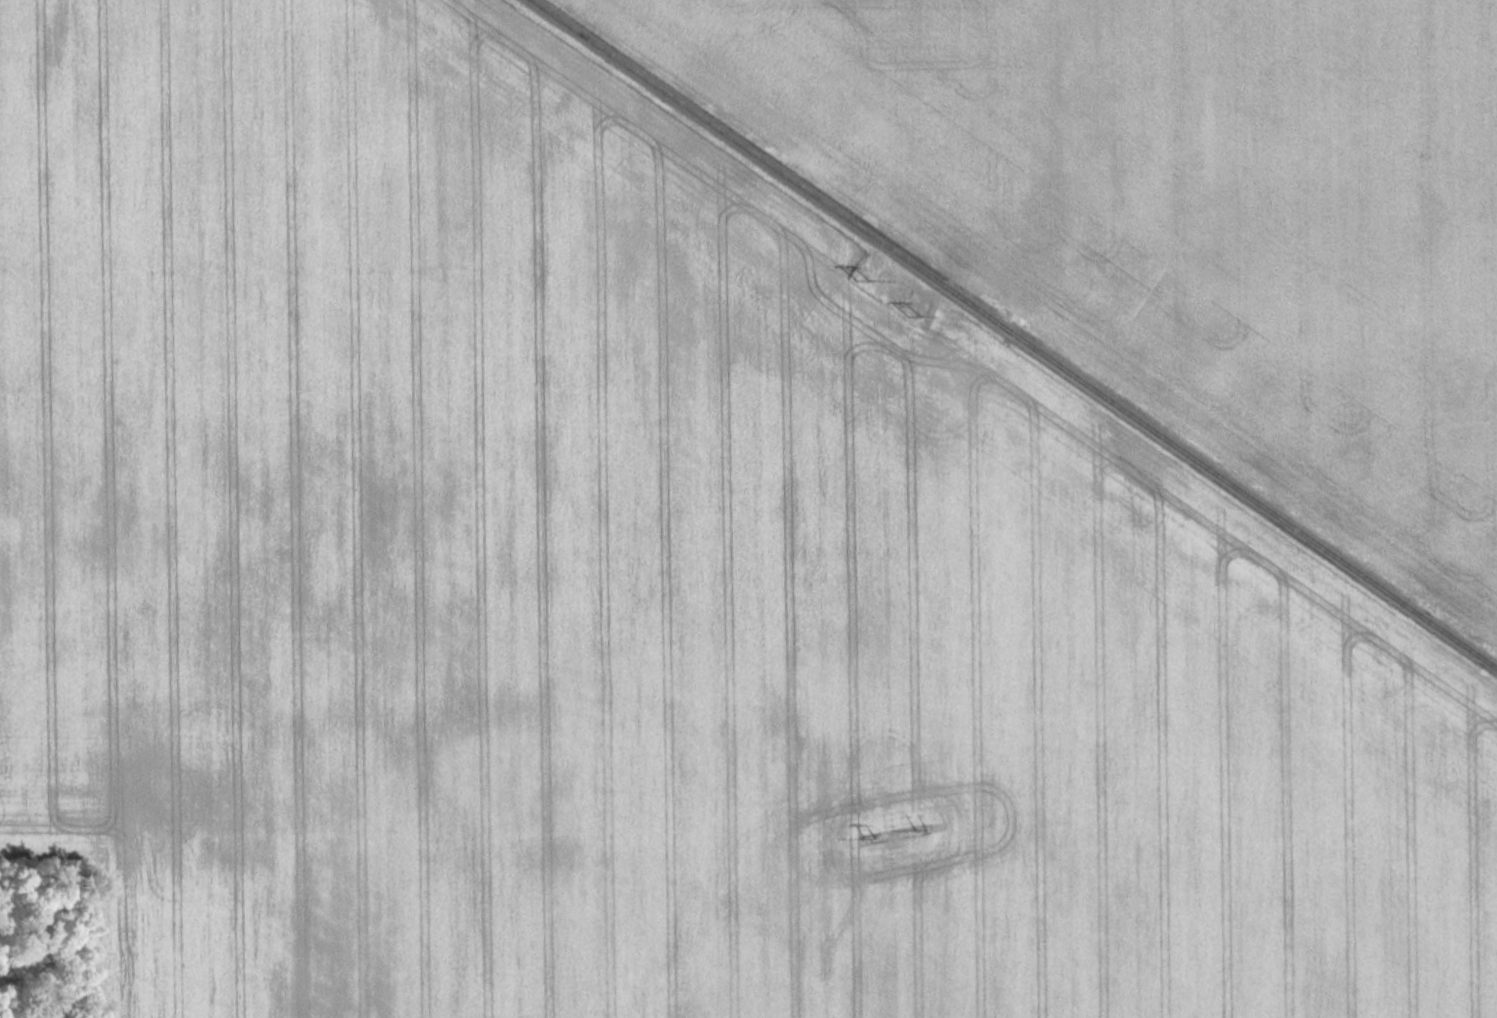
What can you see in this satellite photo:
power tower: (861, 278)
power tower: (914, 315)
railway: (1015, 333)
power tower: (920, 834)
power tower: (868, 835)

